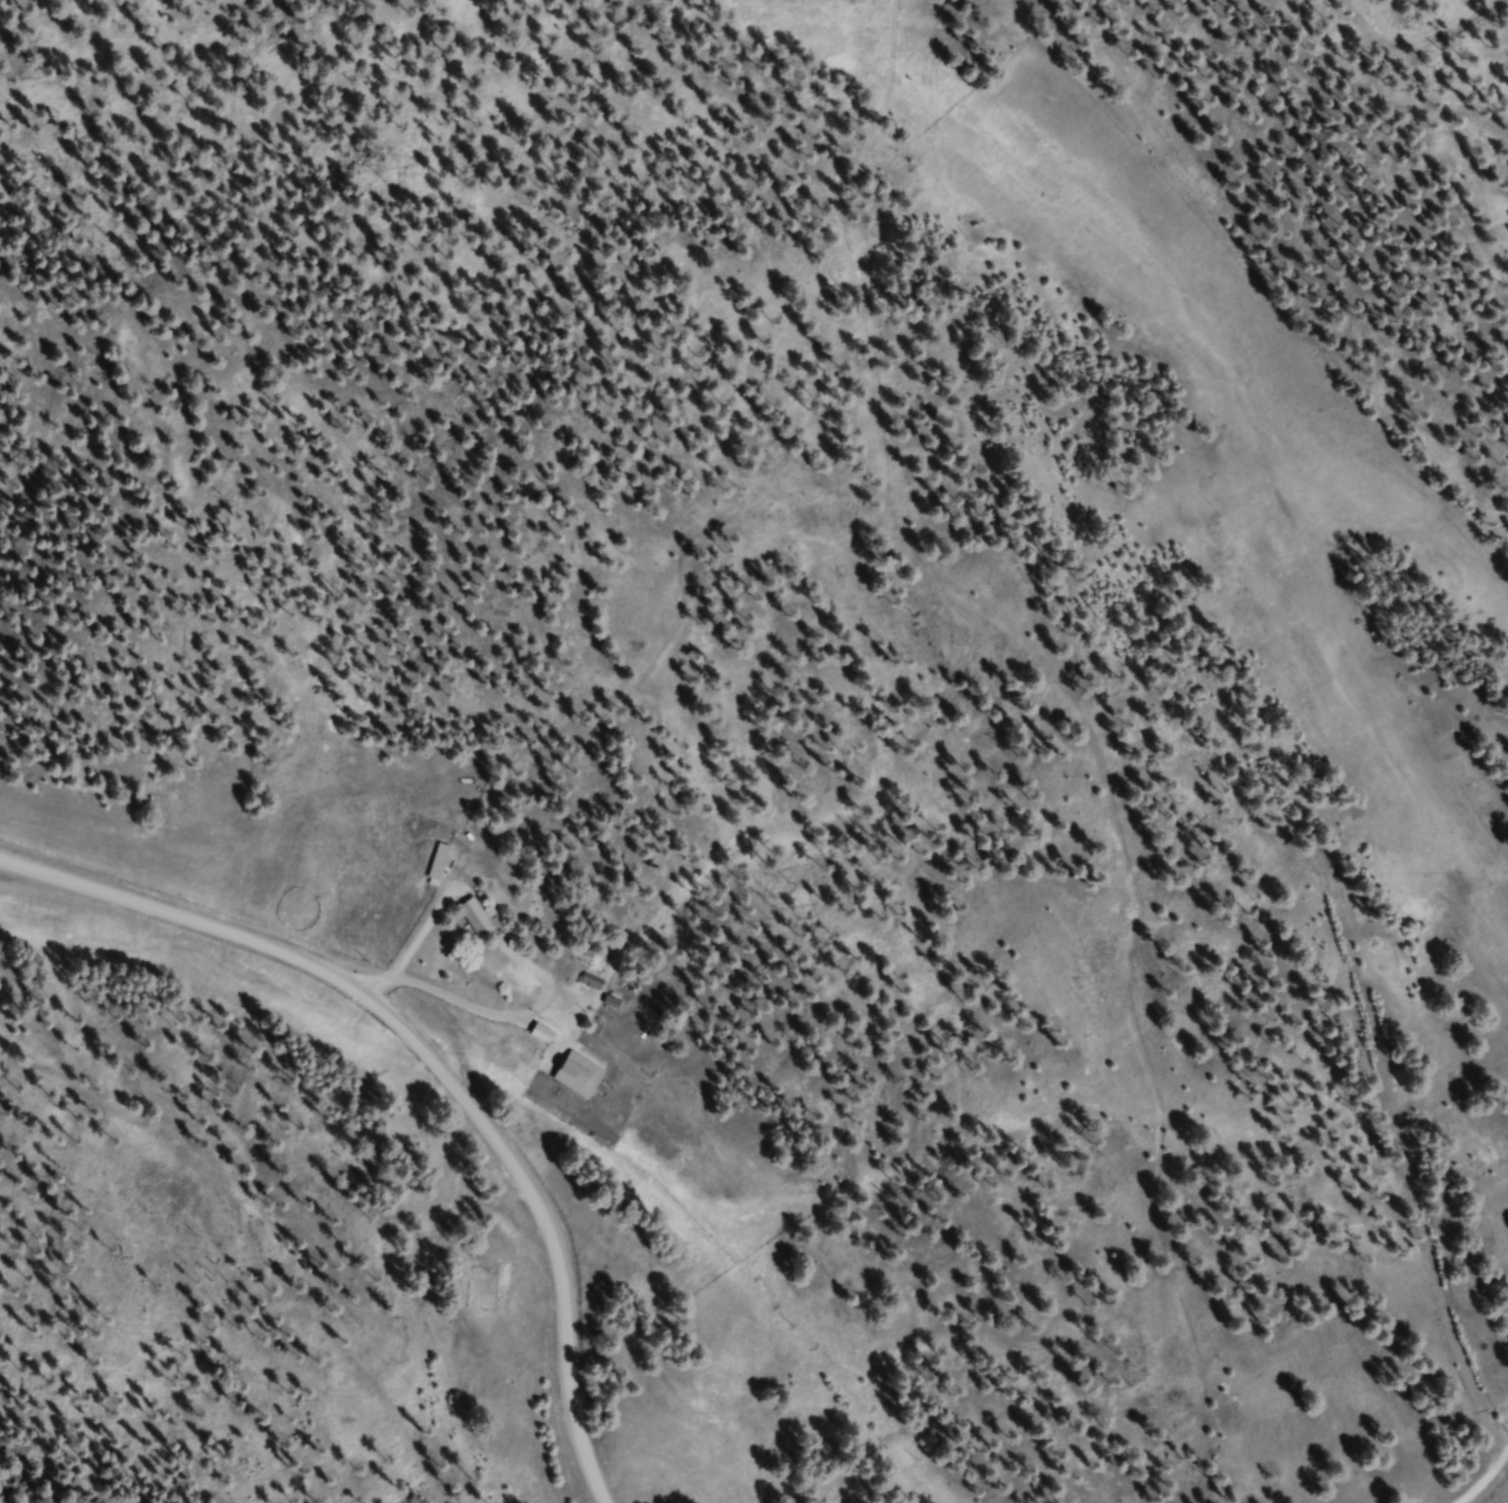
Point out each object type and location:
road: (1414, 33)
road: (1486, 203)
building: (443, 867)
building: (482, 920)
building: (548, 1035)
road: (428, 1065)
building: (583, 1077)
road: (1479, 1477)

